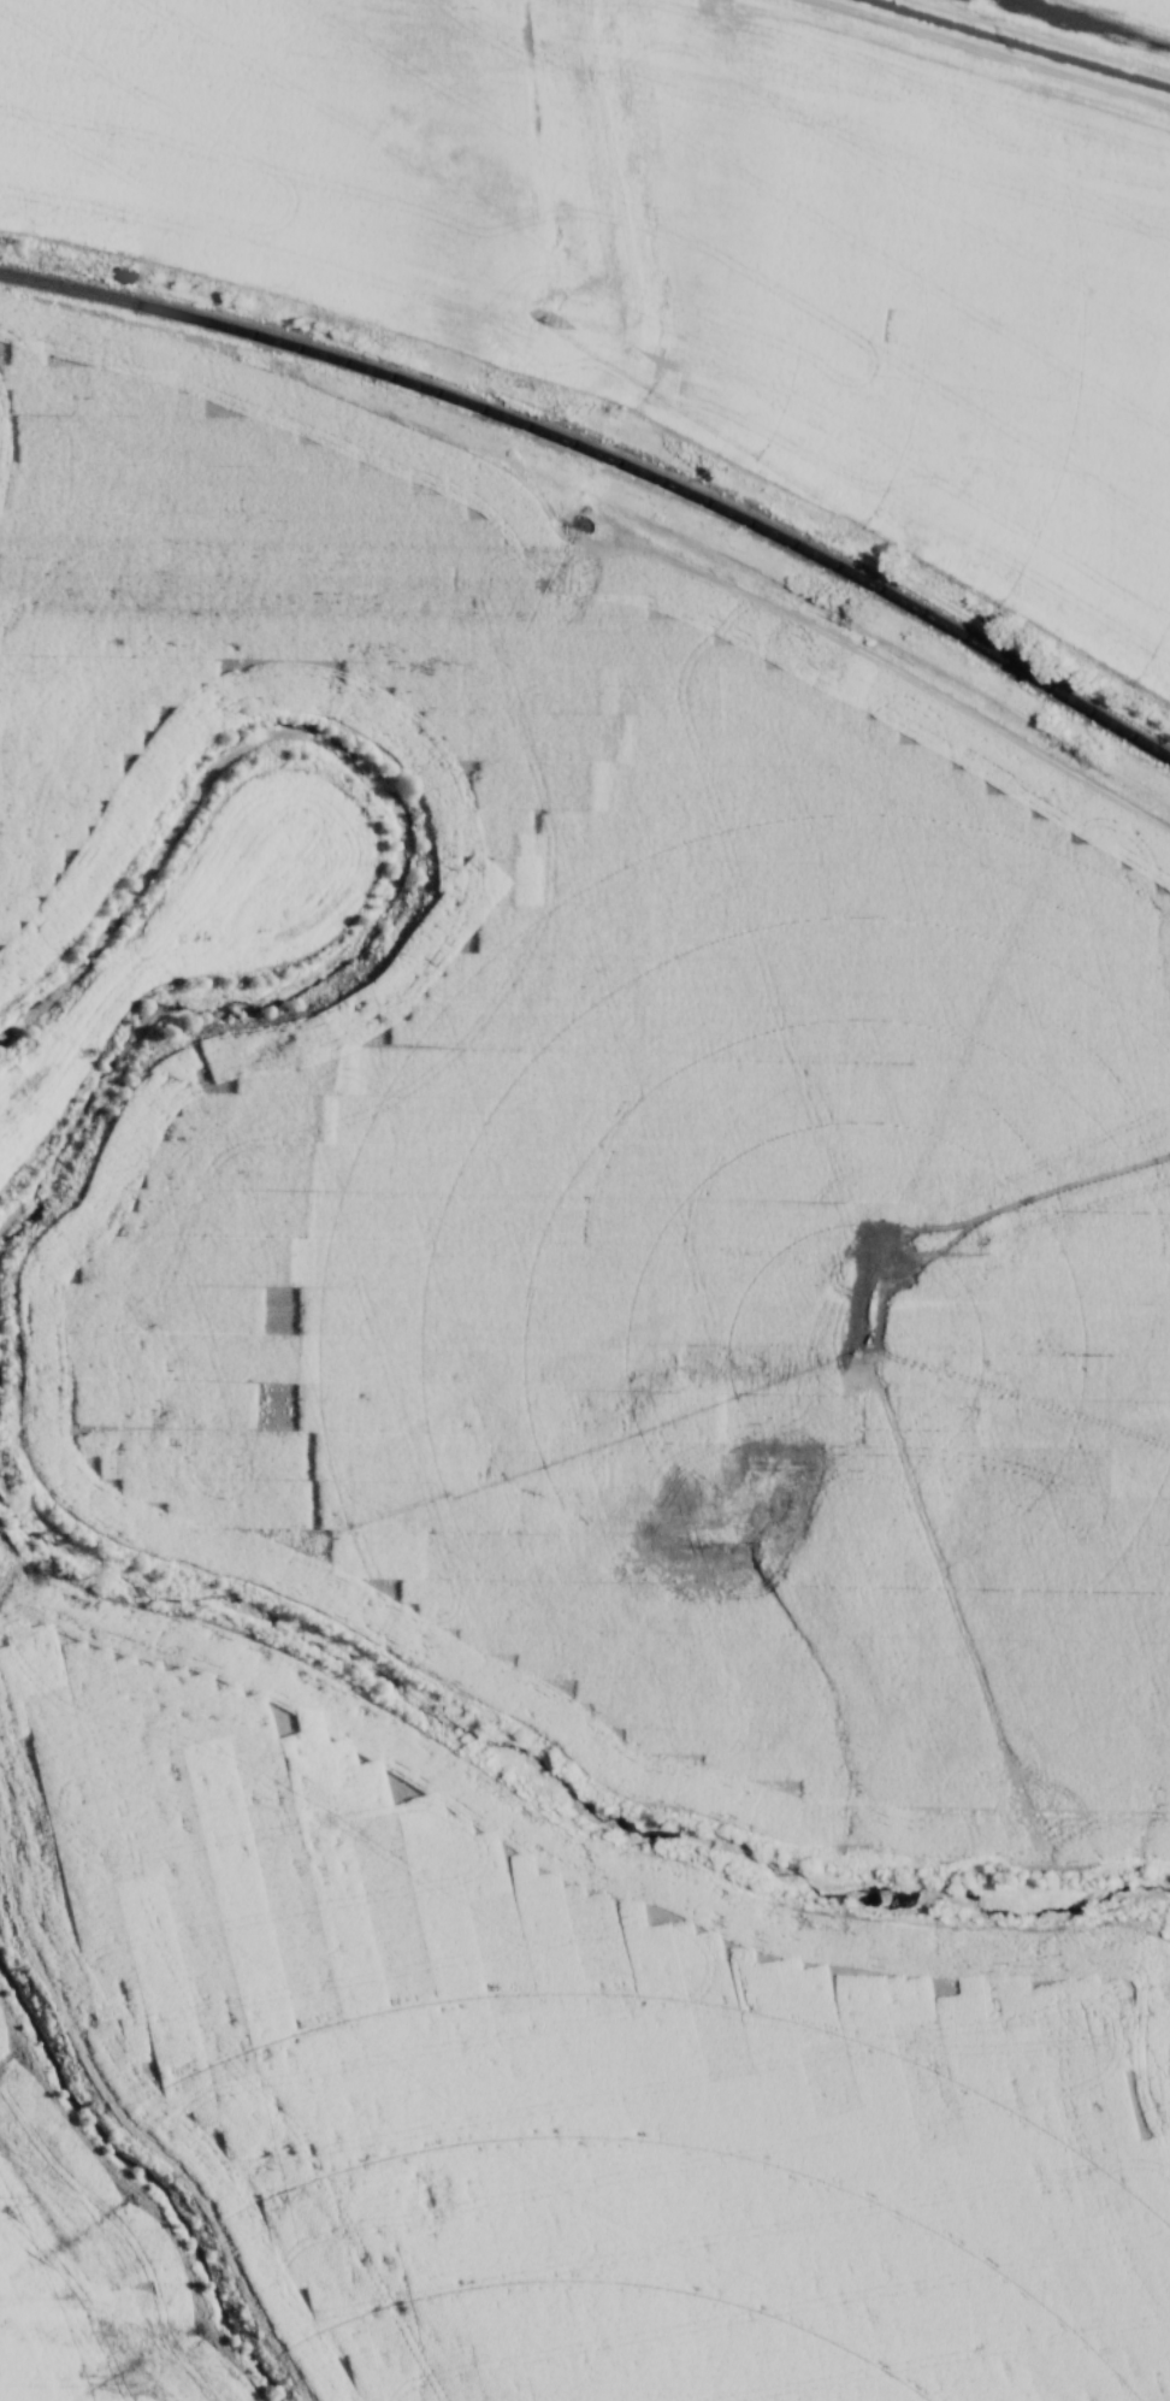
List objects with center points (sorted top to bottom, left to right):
railway: (608, 458)

